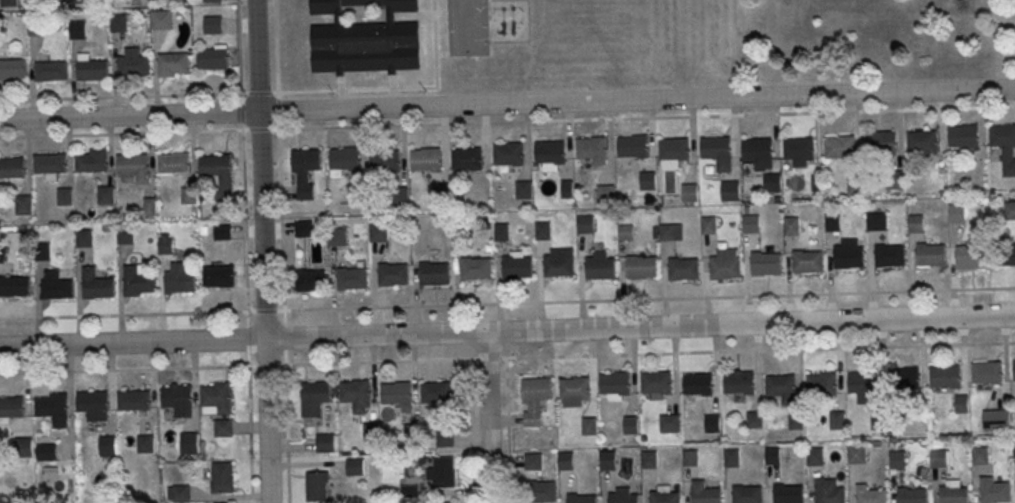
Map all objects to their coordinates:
building: (208, 0)
building: (7, 3)
building: (50, 3)
building: (161, 21)
building: (117, 24)
building: (212, 24)
building: (1, 28)
building: (35, 28)
building: (76, 29)
park: (864, 37)
building: (365, 39)
building: (212, 57)
building: (131, 62)
building: (171, 63)
building: (11, 68)
building: (91, 69)
building: (50, 70)
road: (184, 94)
road: (507, 104)
road: (507, 120)
building: (964, 138)
building: (1002, 138)
building: (923, 143)
building: (882, 144)
building: (632, 146)
building: (839, 147)
building: (591, 148)
building: (674, 148)
building: (798, 150)
building: (550, 151)
building: (717, 151)
building: (759, 152)
building: (509, 153)
building: (467, 158)
building: (345, 160)
building: (426, 161)
building: (385, 162)
building: (91, 163)
building: (49, 165)
building: (174, 165)
building: (132, 166)
building: (216, 167)
building: (11, 169)
road: (259, 169)
building: (304, 170)
building: (648, 180)
building: (772, 182)
building: (567, 188)
building: (523, 189)
building: (730, 189)
building: (441, 192)
building: (689, 192)
building: (606, 193)
building: (105, 197)
building: (189, 197)
building: (64, 199)
building: (23, 207)
building: (1010, 209)
building: (956, 212)
road: (243, 219)
building: (875, 220)
building: (832, 221)
building: (584, 223)
building: (750, 223)
building: (915, 223)
building: (707, 224)
building: (790, 225)
building: (303, 228)
building: (542, 230)
building: (501, 231)
building: (625, 231)
building: (670, 231)
building: (378, 232)
building: (222, 233)
building: (124, 236)
building: (337, 236)
building: (82, 238)
building: (166, 245)
building: (848, 254)
building: (889, 254)
building: (930, 254)
building: (1004, 254)
building: (970, 256)
building: (806, 260)
building: (558, 262)
building: (764, 263)
building: (724, 264)
building: (599, 265)
building: (517, 266)
building: (640, 266)
building: (475, 267)
building: (682, 268)
building: (433, 273)
building: (392, 274)
building: (351, 277)
building: (219, 278)
building: (312, 279)
building: (179, 280)
building: (137, 283)
building: (96, 287)
building: (14, 288)
building: (55, 288)
road: (141, 313)
road: (507, 332)
road: (284, 336)
road: (142, 368)
building: (1013, 368)
building: (986, 371)
building: (945, 375)
building: (902, 376)
building: (739, 381)
building: (656, 382)
building: (820, 382)
building: (614, 384)
building: (696, 384)
building: (864, 385)
building: (780, 389)
building: (574, 390)
building: (437, 395)
building: (398, 396)
building: (357, 397)
building: (535, 397)
building: (179, 399)
building: (218, 399)
building: (315, 400)
building: (135, 402)
building: (962, 403)
building: (96, 407)
building: (12, 409)
building: (56, 411)
road: (487, 417)
building: (754, 419)
building: (795, 419)
building: (837, 419)
building: (879, 419)
road: (266, 421)
building: (669, 422)
building: (712, 422)
building: (997, 423)
building: (631, 424)
building: (588, 425)
building: (225, 430)
road: (472, 430)
road: (507, 430)
road: (287, 433)
building: (371, 433)
building: (412, 433)
road: (250, 434)
building: (445, 440)
building: (326, 444)
building: (191, 445)
building: (147, 446)
building: (1013, 447)
building: (109, 448)
building: (26, 449)
building: (48, 453)
building: (856, 453)
building: (979, 454)
building: (772, 455)
building: (814, 456)
building: (689, 457)
building: (731, 457)
building: (938, 457)
building: (648, 458)
building: (897, 459)
building: (565, 460)
building: (607, 460)
building: (355, 468)
building: (442, 475)
building: (225, 480)
building: (318, 488)
building: (828, 490)
building: (994, 490)
building: (545, 491)
building: (704, 492)
building: (747, 493)
building: (788, 493)
building: (870, 494)
building: (954, 494)
building: (183, 495)
building: (912, 495)
building: (622, 496)
building: (663, 496)
building: (581, 498)
building: (453, 502)

